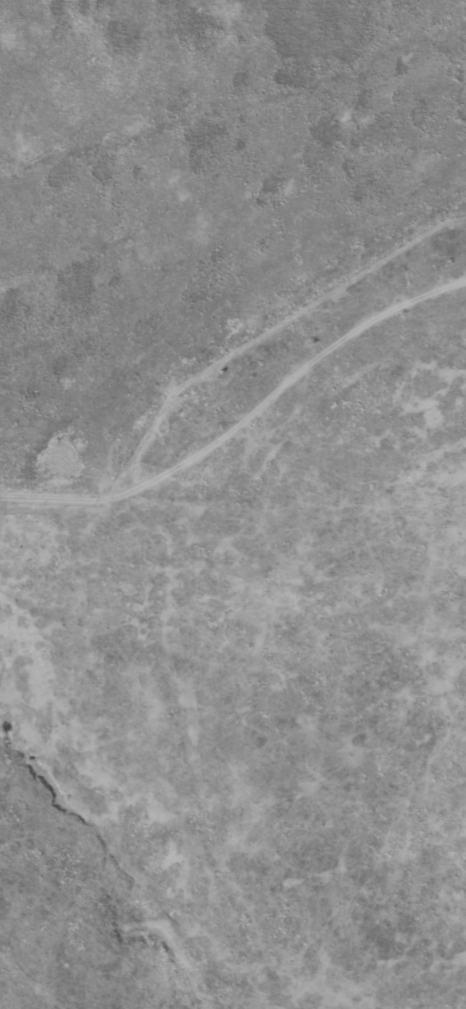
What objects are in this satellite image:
road: (243, 428)

